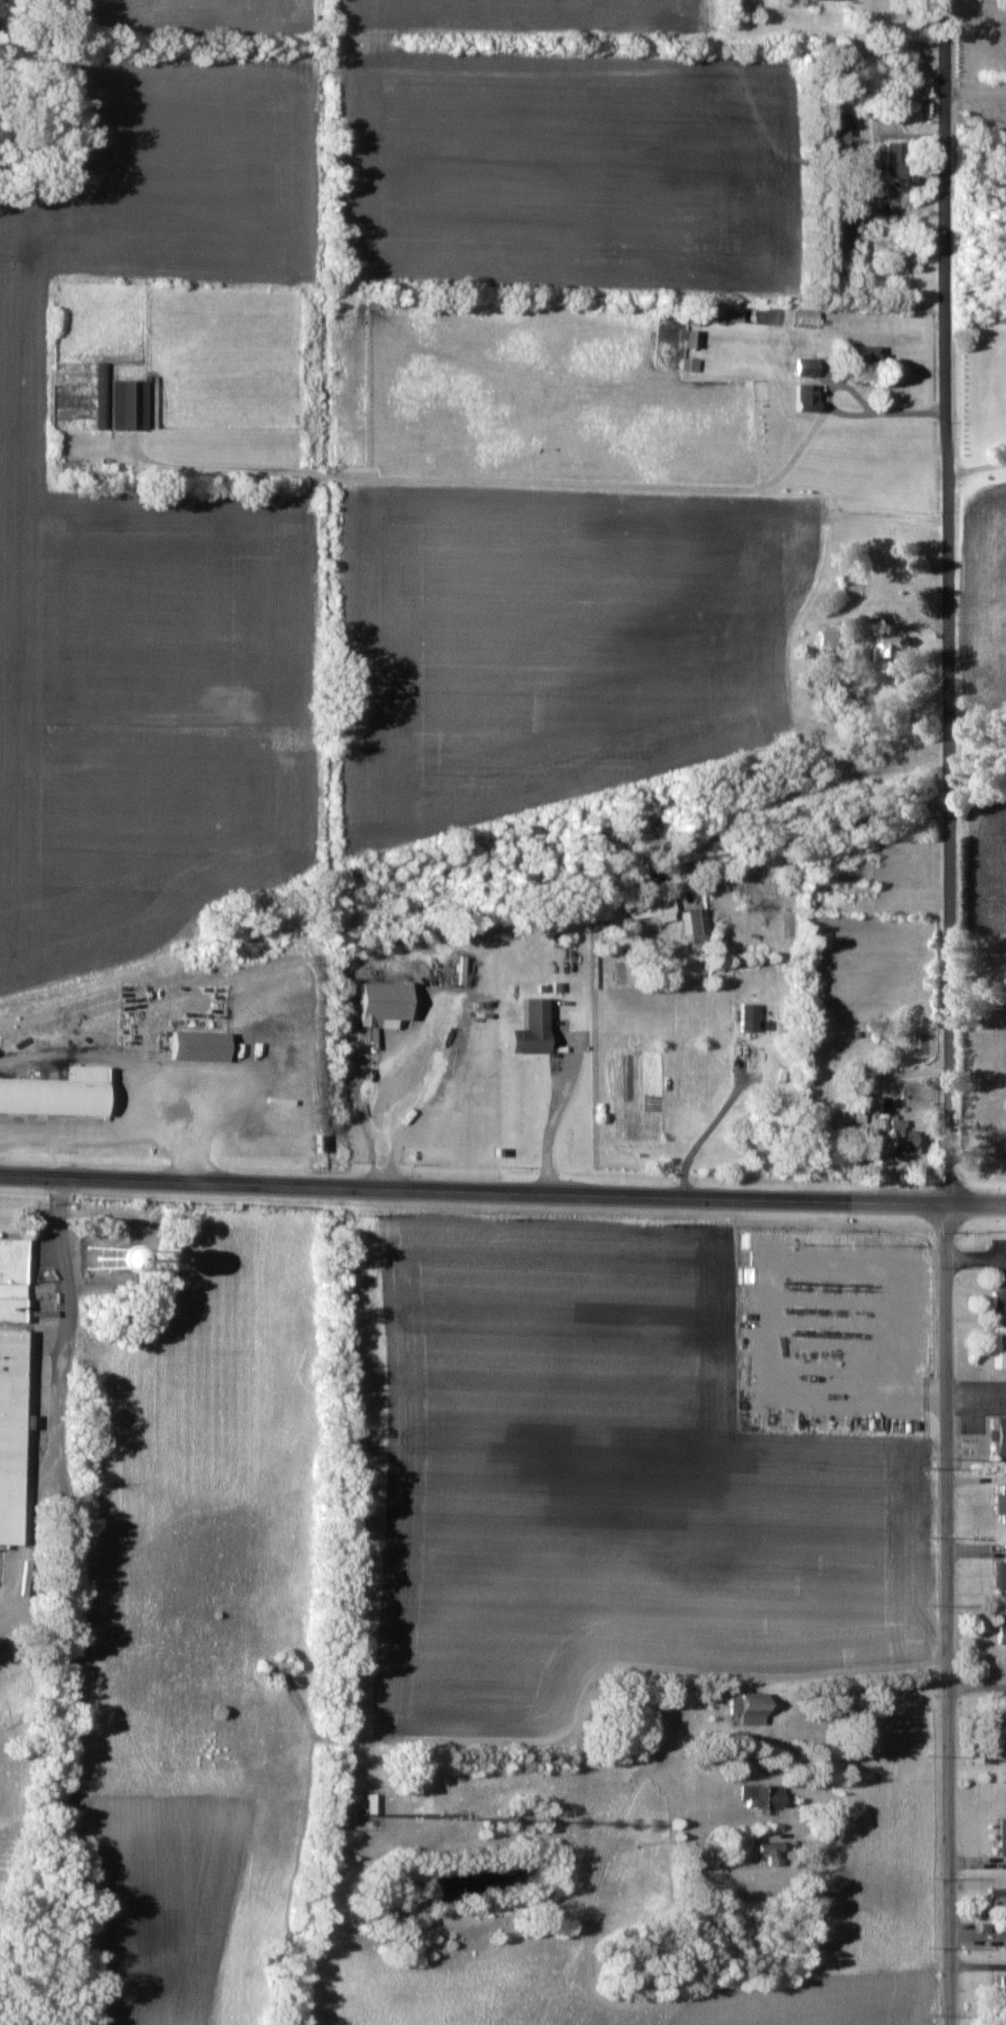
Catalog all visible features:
building: (850, 124)
building: (898, 169)
building: (721, 316)
building: (690, 339)
building: (859, 357)
building: (689, 364)
building: (805, 367)
building: (128, 405)
road: (555, 480)
building: (826, 638)
building: (891, 648)
building: (847, 890)
building: (652, 907)
building: (694, 924)
building: (390, 1005)
road: (951, 1012)
building: (747, 1017)
building: (527, 1028)
building: (203, 1046)
building: (57, 1097)
building: (900, 1137)
road: (502, 1190)
water tower: (104, 1264)
building: (12, 1279)
building: (997, 1301)
building: (1004, 1349)
building: (9, 1433)
building: (997, 1434)
building: (1000, 1503)
building: (1001, 1570)
road: (66, 1600)
building: (1000, 1634)
road: (977, 1687)
building: (745, 1708)
building: (1002, 1734)
building: (760, 1795)
building: (1001, 1838)
building: (770, 1855)
building: (1000, 1915)
building: (1002, 1993)

